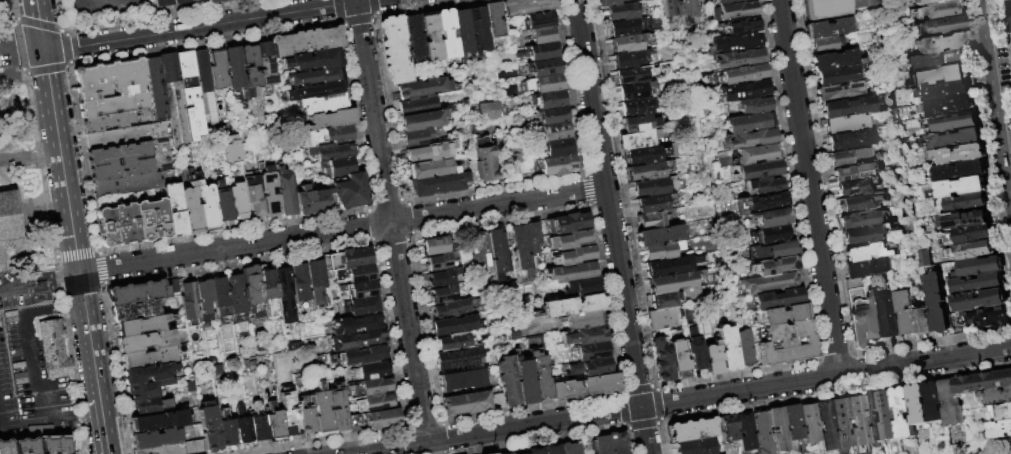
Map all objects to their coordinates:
building: (228, 0)
building: (639, 0)
building: (643, 0)
building: (1009, 0)
building: (194, 1)
building: (214, 1)
road: (354, 1)
road: (362, 1)
building: (179, 2)
building: (607, 2)
building: (725, 2)
building: (931, 2)
building: (161, 3)
building: (100, 5)
road: (374, 6)
road: (421, 7)
building: (526, 7)
building: (831, 7)
road: (271, 8)
building: (1009, 8)
road: (333, 9)
building: (670, 9)
building: (687, 10)
building: (939, 10)
road: (14, 12)
building: (622, 12)
building: (731, 12)
road: (161, 15)
road: (61, 17)
road: (372, 20)
building: (493, 20)
building: (1010, 20)
building: (538, 21)
road: (357, 23)
road: (37, 24)
road: (38, 24)
road: (339, 24)
building: (942, 26)
road: (199, 27)
building: (627, 27)
building: (738, 27)
building: (830, 28)
building: (477, 29)
building: (461, 31)
building: (412, 35)
building: (446, 36)
building: (543, 36)
building: (430, 37)
road: (1004, 38)
building: (304, 40)
road: (204, 43)
building: (629, 43)
building: (733, 43)
building: (942, 43)
building: (828, 45)
road: (17, 46)
road: (21, 48)
road: (66, 48)
building: (395, 48)
traffic signals: (43, 49)
building: (541, 52)
building: (310, 59)
building: (631, 60)
building: (737, 60)
building: (938, 60)
building: (834, 61)
building: (263, 62)
building: (247, 65)
road: (66, 67)
building: (231, 67)
building: (215, 68)
building: (541, 68)
road: (45, 70)
road: (12, 75)
building: (312, 75)
building: (740, 75)
building: (632, 76)
building: (838, 76)
building: (940, 77)
building: (545, 84)
building: (201, 85)
building: (91, 86)
road: (997, 86)
building: (422, 88)
road: (570, 88)
building: (314, 89)
building: (639, 91)
building: (741, 91)
building: (948, 91)
building: (841, 92)
building: (186, 94)
building: (170, 96)
building: (548, 99)
building: (156, 100)
building: (320, 103)
road: (387, 105)
building: (417, 106)
building: (745, 107)
building: (949, 107)
building: (637, 108)
building: (848, 108)
building: (487, 110)
road: (355, 115)
building: (552, 115)
building: (328, 118)
building: (109, 120)
building: (422, 120)
building: (956, 123)
building: (639, 124)
building: (747, 124)
building: (848, 124)
building: (555, 131)
building: (322, 134)
building: (118, 137)
building: (417, 138)
building: (957, 139)
road: (988, 139)
building: (749, 140)
building: (637, 141)
building: (850, 141)
building: (557, 148)
building: (228, 149)
building: (329, 150)
building: (432, 152)
road: (29, 155)
road: (80, 155)
building: (755, 155)
building: (963, 155)
building: (645, 156)
building: (849, 157)
building: (484, 160)
building: (120, 162)
building: (338, 165)
building: (557, 165)
building: (433, 169)
building: (963, 171)
building: (646, 172)
building: (756, 172)
building: (857, 173)
road: (822, 177)
building: (878, 178)
road: (788, 180)
building: (127, 184)
building: (439, 184)
road: (494, 187)
building: (654, 187)
building: (762, 187)
building: (859, 187)
building: (964, 187)
road: (808, 188)
building: (266, 190)
building: (347, 190)
road: (585, 190)
building: (283, 192)
road: (621, 193)
building: (251, 197)
road: (404, 199)
building: (221, 200)
building: (235, 200)
building: (312, 200)
road: (384, 201)
building: (864, 202)
building: (966, 203)
building: (653, 204)
building: (757, 204)
road: (368, 205)
building: (204, 207)
building: (173, 208)
building: (189, 208)
building: (7, 217)
road: (408, 218)
building: (149, 219)
building: (766, 219)
building: (967, 220)
road: (502, 221)
building: (652, 221)
road: (390, 222)
building: (565, 222)
building: (859, 222)
road: (70, 223)
building: (116, 224)
road: (368, 224)
road: (611, 227)
road: (233, 230)
road: (342, 230)
building: (770, 235)
building: (868, 235)
building: (973, 235)
building: (660, 236)
road: (409, 237)
building: (531, 239)
building: (568, 239)
road: (392, 242)
road: (373, 243)
building: (433, 246)
building: (520, 249)
road: (96, 250)
building: (663, 251)
building: (772, 251)
building: (974, 251)
building: (872, 252)
road: (74, 253)
building: (496, 253)
building: (480, 254)
building: (1, 255)
building: (572, 255)
road: (56, 257)
building: (924, 258)
building: (347, 260)
road: (55, 261)
building: (438, 262)
road: (237, 263)
road: (100, 267)
building: (671, 267)
building: (772, 267)
building: (981, 268)
building: (867, 269)
building: (569, 271)
road: (61, 273)
park: (26, 275)
building: (357, 275)
building: (441, 278)
building: (317, 282)
building: (674, 282)
road: (22, 283)
building: (39, 283)
building: (764, 284)
building: (980, 284)
building: (301, 286)
building: (174, 287)
building: (581, 287)
road: (40, 289)
building: (269, 290)
building: (358, 292)
building: (139, 293)
building: (254, 293)
building: (441, 294)
building: (238, 295)
building: (286, 296)
building: (205, 299)
building: (222, 299)
road: (604, 299)
building: (775, 300)
building: (983, 300)
building: (665, 301)
building: (191, 304)
building: (939, 304)
building: (570, 305)
road: (70, 306)
building: (362, 307)
building: (449, 309)
building: (136, 311)
building: (909, 314)
building: (782, 315)
building: (859, 316)
building: (892, 316)
building: (876, 318)
building: (988, 318)
building: (581, 319)
building: (661, 319)
building: (926, 322)
building: (358, 325)
building: (453, 325)
building: (142, 326)
road: (422, 329)
building: (784, 331)
road: (388, 335)
building: (583, 335)
building: (359, 341)
building: (147, 342)
building: (453, 342)
road: (931, 342)
road: (27, 346)
building: (727, 348)
building: (51, 349)
building: (695, 350)
building: (744, 350)
building: (589, 351)
building: (785, 352)
building: (362, 356)
road: (851, 356)
building: (149, 358)
building: (458, 358)
building: (713, 359)
road: (835, 359)
building: (663, 360)
building: (679, 360)
road: (819, 360)
road: (114, 367)
building: (588, 367)
building: (371, 372)
road: (736, 373)
building: (148, 375)
building: (538, 376)
building: (462, 380)
building: (522, 380)
building: (506, 381)
building: (984, 382)
building: (582, 386)
road: (651, 386)
building: (372, 387)
road: (655, 388)
road: (636, 389)
building: (148, 390)
road: (619, 391)
road: (835, 392)
parking lot: (6, 394)
building: (997, 396)
road: (682, 400)
building: (935, 402)
building: (376, 403)
building: (952, 403)
building: (465, 404)
road: (658, 404)
building: (919, 404)
building: (151, 406)
road: (530, 408)
road: (620, 410)
building: (322, 411)
building: (338, 411)
building: (1002, 412)
building: (905, 413)
building: (889, 415)
building: (289, 416)
road: (69, 417)
building: (307, 417)
building: (872, 417)
building: (381, 420)
road: (660, 420)
road: (438, 421)
building: (160, 422)
building: (840, 422)
building: (275, 423)
road: (419, 423)
road: (658, 423)
building: (353, 424)
building: (792, 424)
building: (808, 424)
building: (857, 424)
road: (103, 425)
building: (258, 425)
building: (825, 425)
road: (622, 426)
road: (641, 426)
building: (243, 427)
road: (401, 427)
road: (626, 429)
building: (776, 429)
building: (1001, 429)
building: (691, 430)
building: (208, 431)
building: (226, 431)
building: (727, 431)
building: (744, 432)
building: (762, 433)
road: (51, 435)
road: (441, 438)
road: (662, 438)
building: (157, 439)
road: (536, 440)
road: (325, 441)
road: (626, 441)
road: (403, 442)
building: (607, 444)
building: (695, 446)
building: (36, 447)
park: (983, 447)
road: (1009, 447)
building: (568, 448)
building: (171, 449)
building: (549, 449)
building: (534, 450)
road: (442, 453)
building: (490, 453)
building: (507, 453)
building: (523, 453)

